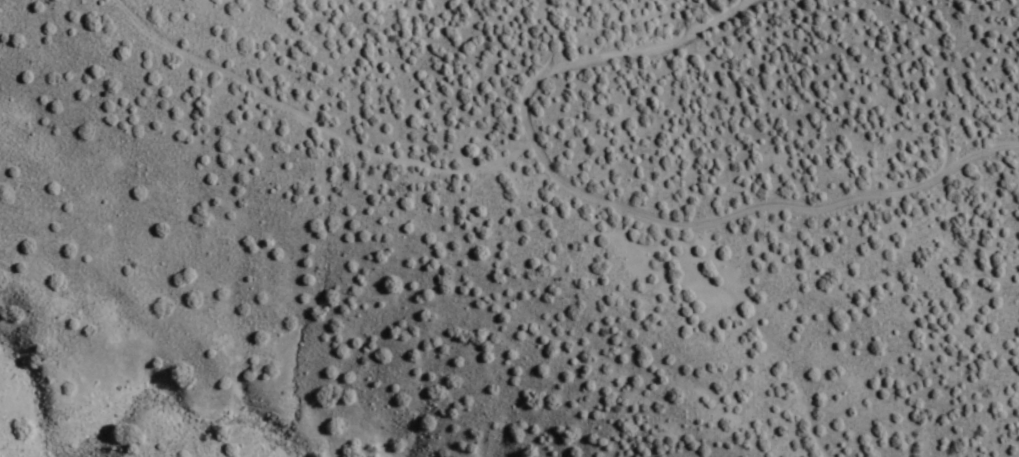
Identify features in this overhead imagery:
road: (447, 161)

